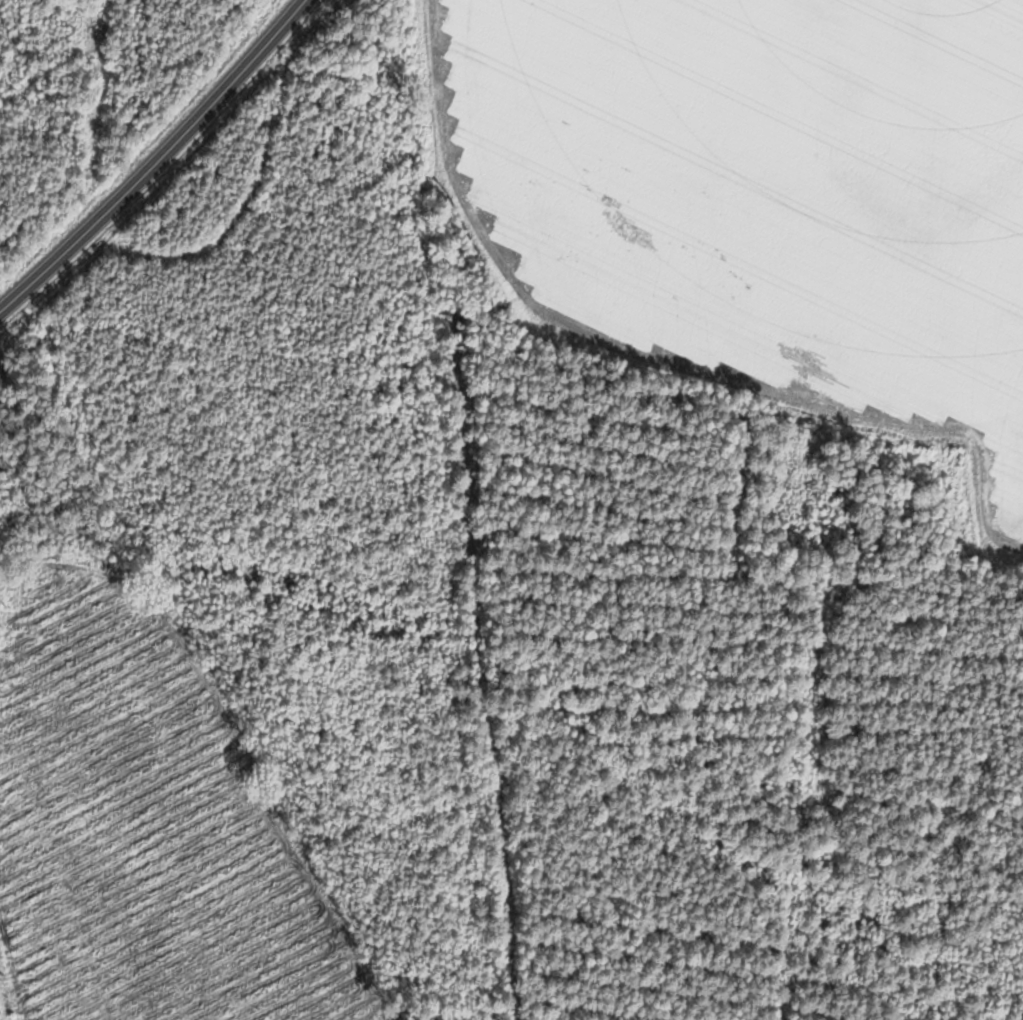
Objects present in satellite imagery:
road: (157, 159)

